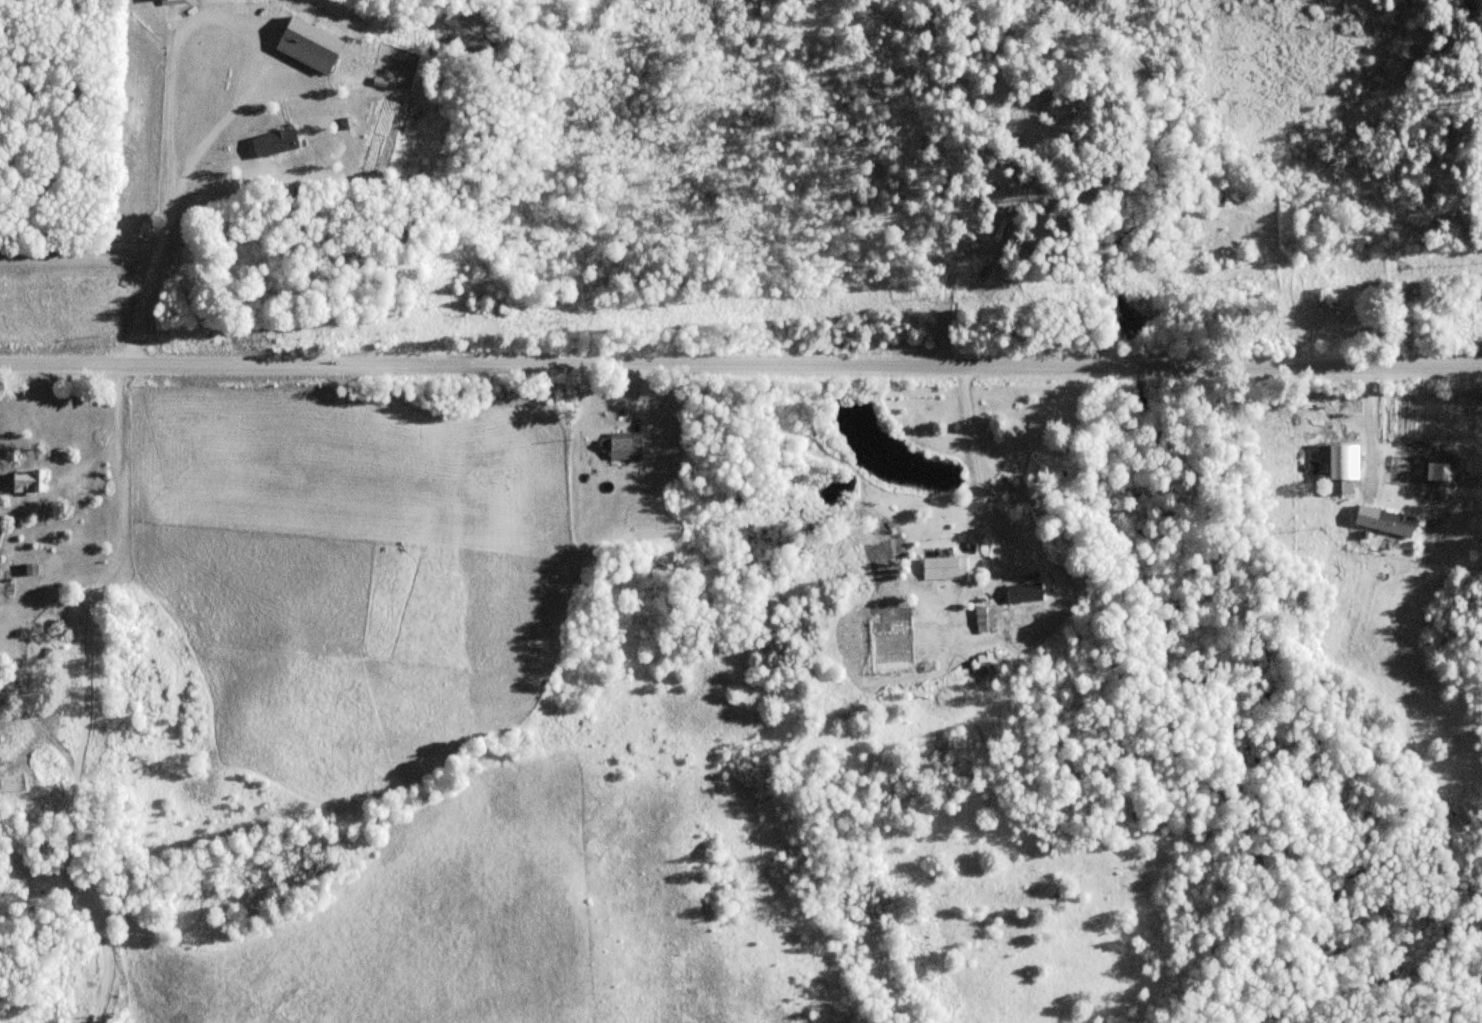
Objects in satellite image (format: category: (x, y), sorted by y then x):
road: (251, 84)
road: (78, 252)
road: (740, 363)
road: (644, 396)
road: (1367, 426)
building: (622, 448)
road: (978, 462)
building: (28, 482)
building: (1393, 524)
building: (944, 568)
building: (30, 570)
building: (1024, 592)

